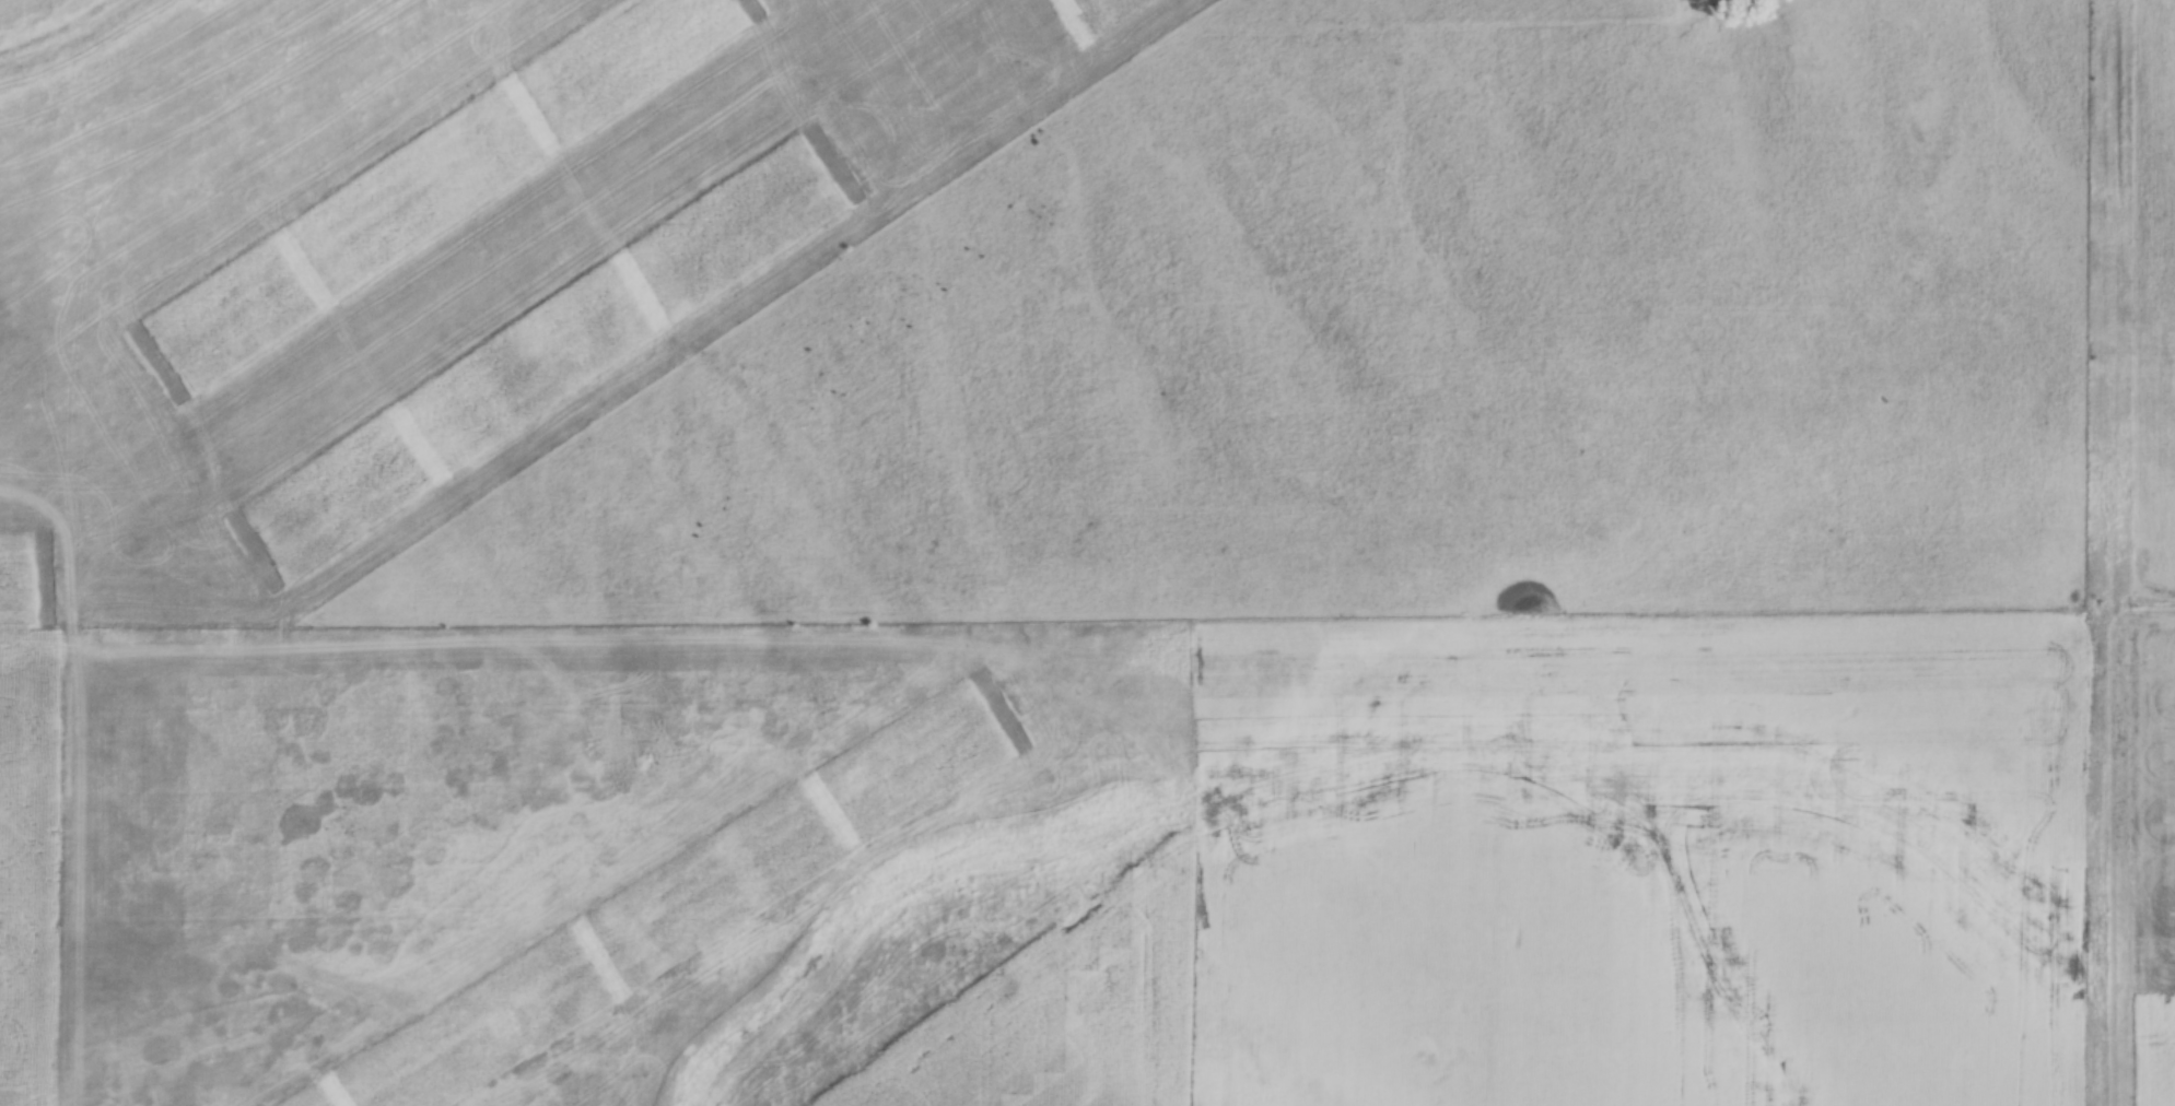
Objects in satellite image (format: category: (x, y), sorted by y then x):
road: (2148, 863)

